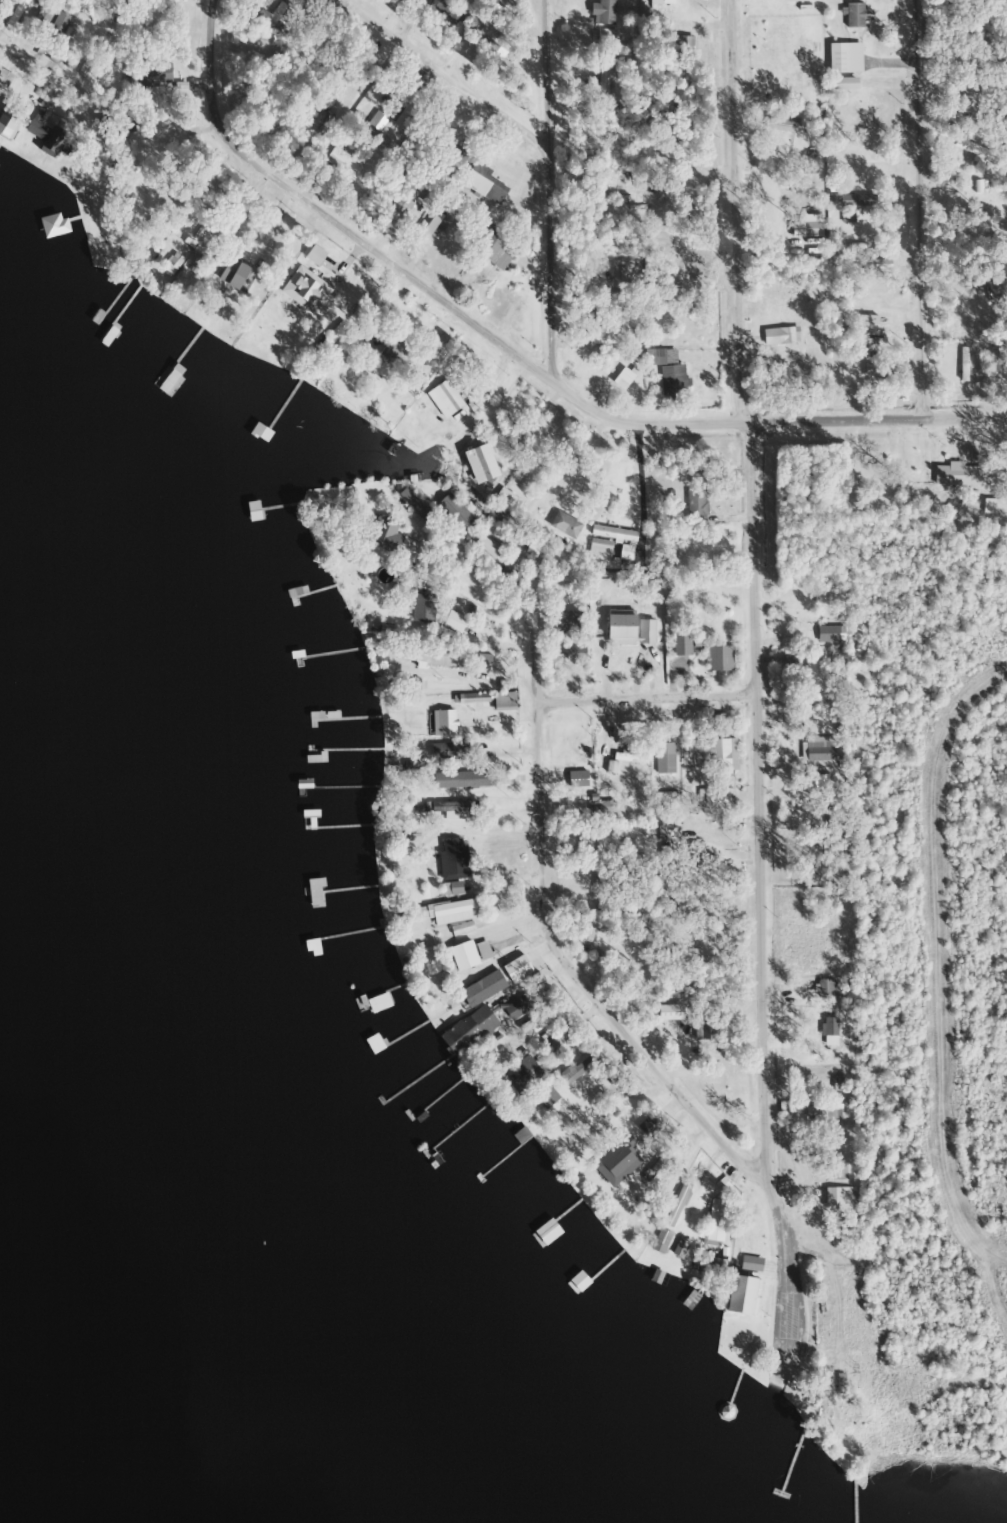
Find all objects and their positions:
building: (800, 0)
building: (445, 10)
building: (14, 11)
building: (604, 12)
building: (43, 14)
building: (853, 15)
building: (277, 17)
building: (54, 35)
road: (36, 47)
road: (439, 57)
building: (843, 58)
building: (146, 76)
building: (603, 77)
building: (4, 78)
building: (968, 93)
building: (8, 121)
building: (317, 122)
building: (391, 122)
building: (780, 123)
road: (92, 136)
building: (46, 138)
building: (454, 155)
building: (341, 165)
building: (482, 183)
road: (882, 192)
road: (739, 194)
building: (855, 201)
road: (534, 205)
building: (398, 209)
building: (423, 228)
building: (93, 230)
building: (494, 249)
building: (232, 275)
building: (610, 333)
building: (782, 336)
building: (398, 352)
building: (429, 358)
building: (790, 359)
building: (963, 365)
road: (510, 366)
building: (874, 371)
building: (628, 373)
building: (672, 380)
building: (453, 402)
building: (478, 464)
building: (956, 477)
building: (505, 500)
building: (695, 507)
building: (565, 526)
building: (381, 534)
building: (612, 534)
building: (485, 547)
building: (626, 553)
building: (562, 587)
building: (421, 609)
building: (567, 624)
building: (619, 628)
building: (645, 633)
building: (829, 635)
building: (680, 645)
building: (406, 655)
building: (574, 655)
building: (445, 658)
road: (640, 658)
building: (718, 659)
building: (482, 660)
building: (813, 681)
building: (472, 701)
building: (503, 702)
building: (444, 724)
building: (819, 749)
building: (721, 755)
building: (446, 758)
building: (663, 758)
road: (750, 759)
building: (579, 779)
building: (446, 780)
building: (627, 780)
building: (712, 797)
building: (664, 800)
building: (600, 809)
building: (452, 810)
building: (834, 817)
building: (663, 834)
building: (593, 843)
building: (450, 857)
building: (435, 889)
building: (313, 893)
building: (604, 907)
road: (530, 926)
building: (461, 929)
building: (468, 954)
building: (827, 988)
building: (481, 989)
building: (378, 1003)
building: (668, 1012)
building: (478, 1026)
building: (704, 1027)
building: (832, 1032)
building: (373, 1044)
building: (580, 1068)
building: (522, 1078)
building: (546, 1099)
building: (822, 1111)
building: (633, 1138)
road: (879, 1181)
building: (835, 1198)
building: (676, 1205)
building: (715, 1220)
road: (816, 1222)
building: (546, 1233)
building: (660, 1242)
building: (679, 1248)
building: (716, 1268)
building: (578, 1283)
building: (741, 1296)
road: (965, 1323)

